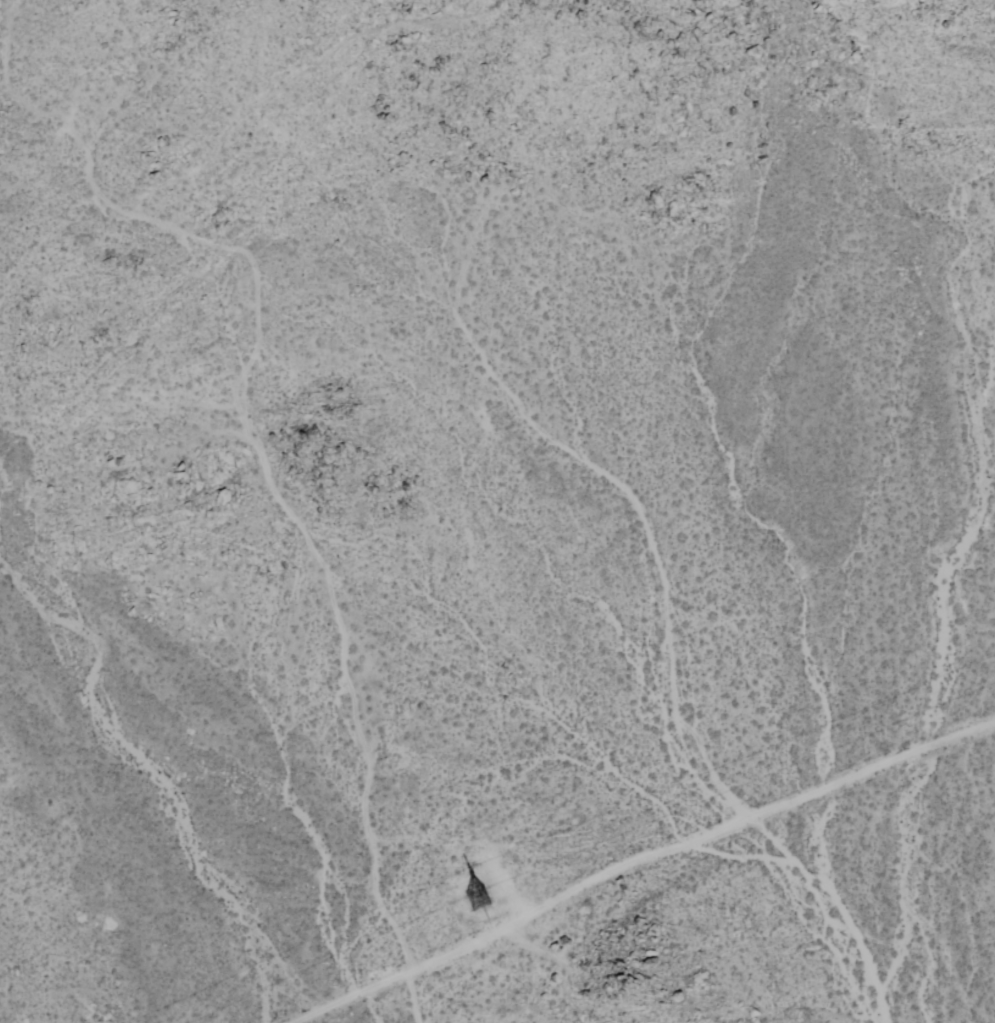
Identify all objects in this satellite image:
road: (640, 861)
power tower: (478, 900)

